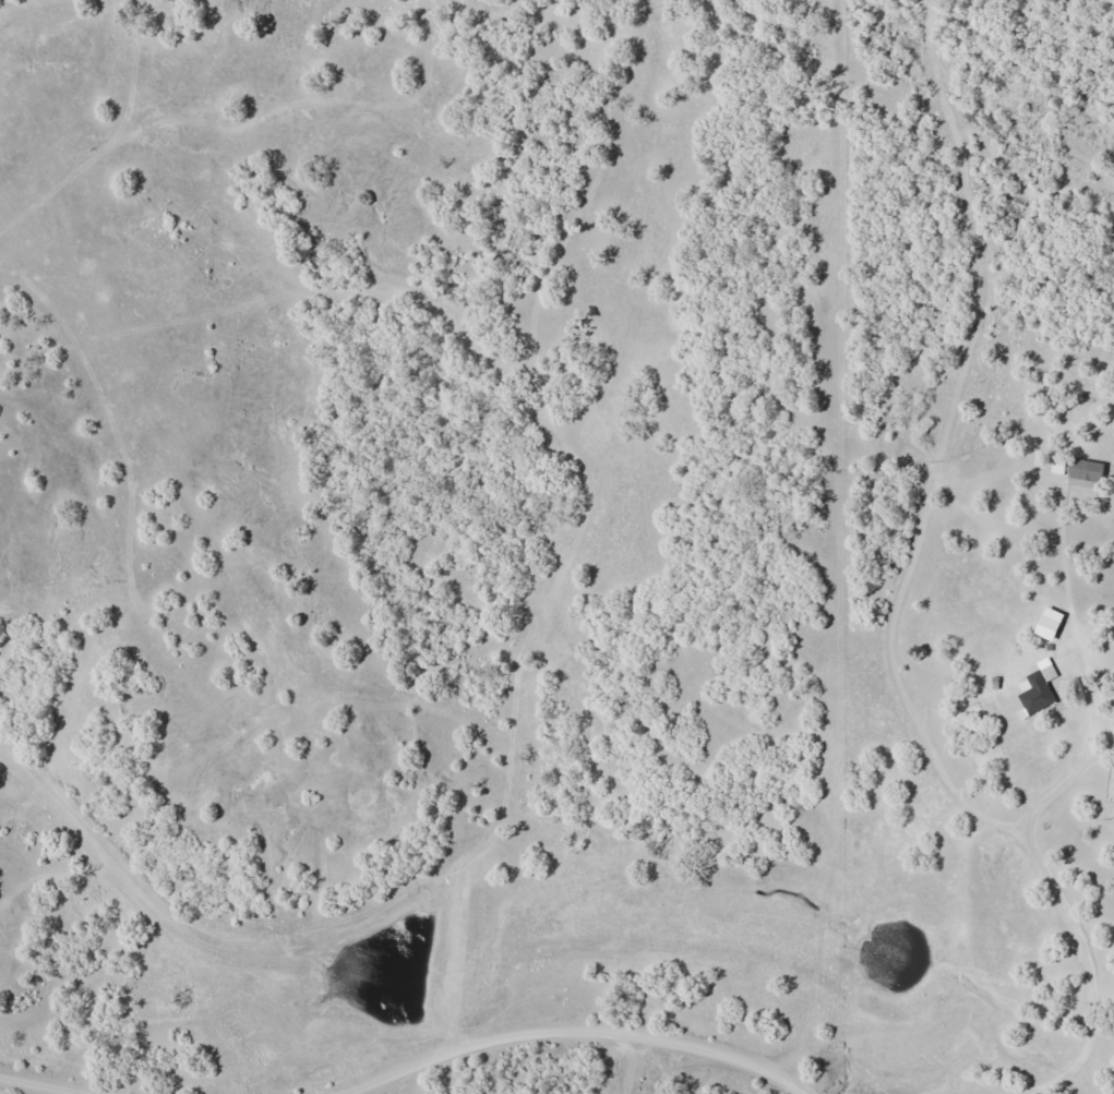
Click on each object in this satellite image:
building: (1058, 467)
building: (1086, 472)
building: (1050, 624)
building: (1038, 689)
road: (482, 930)

